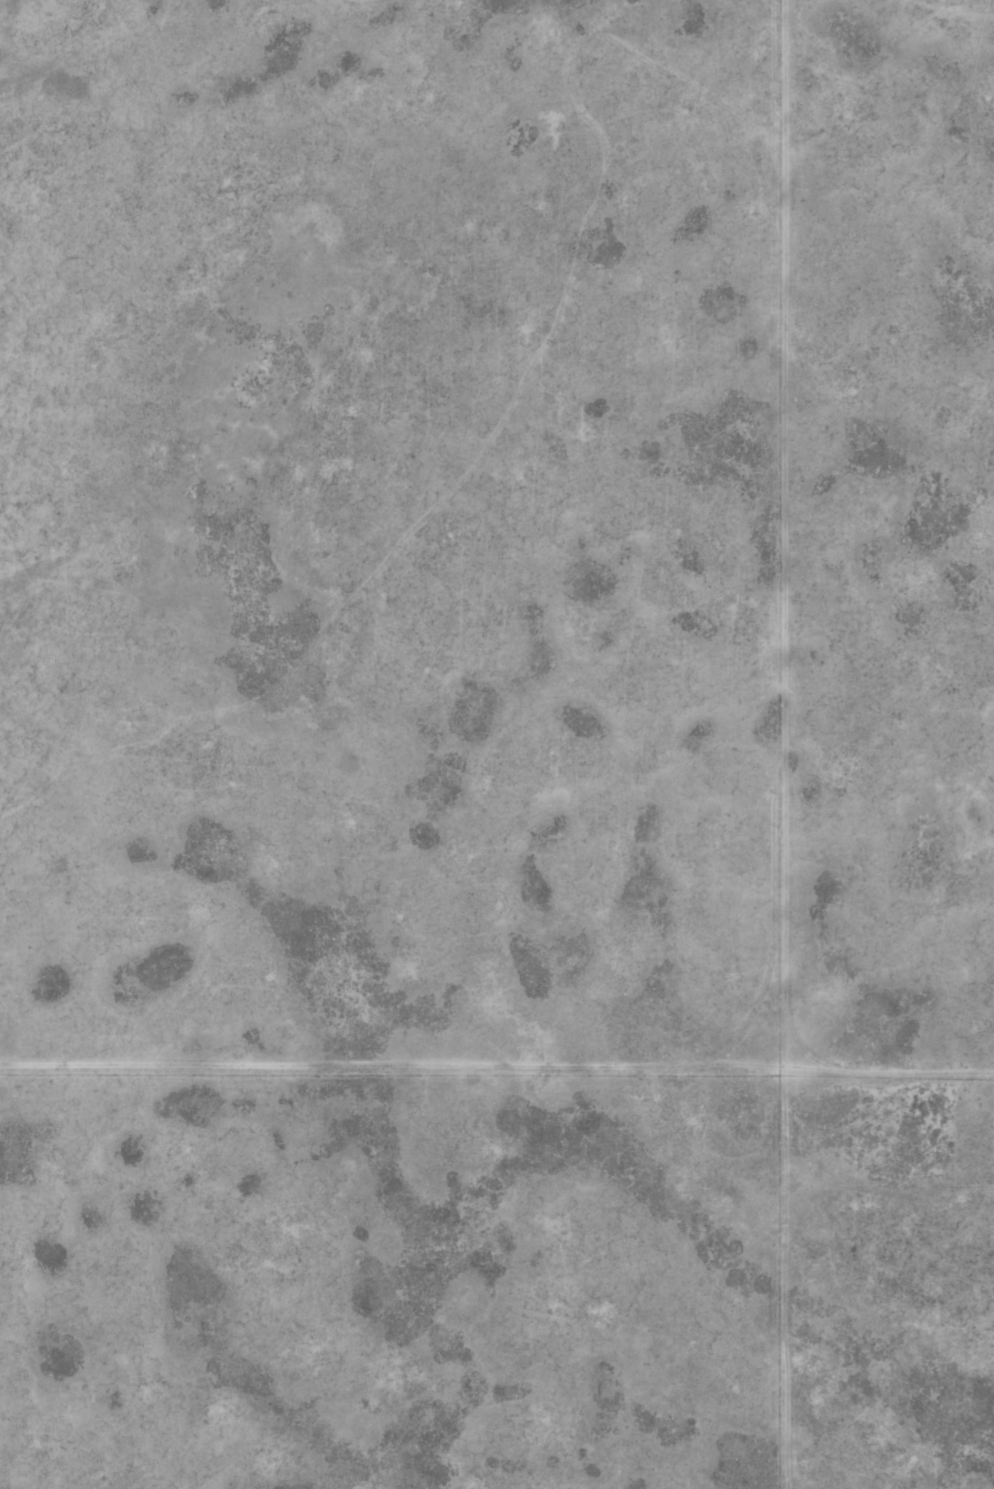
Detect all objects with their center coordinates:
road: (496, 1003)

